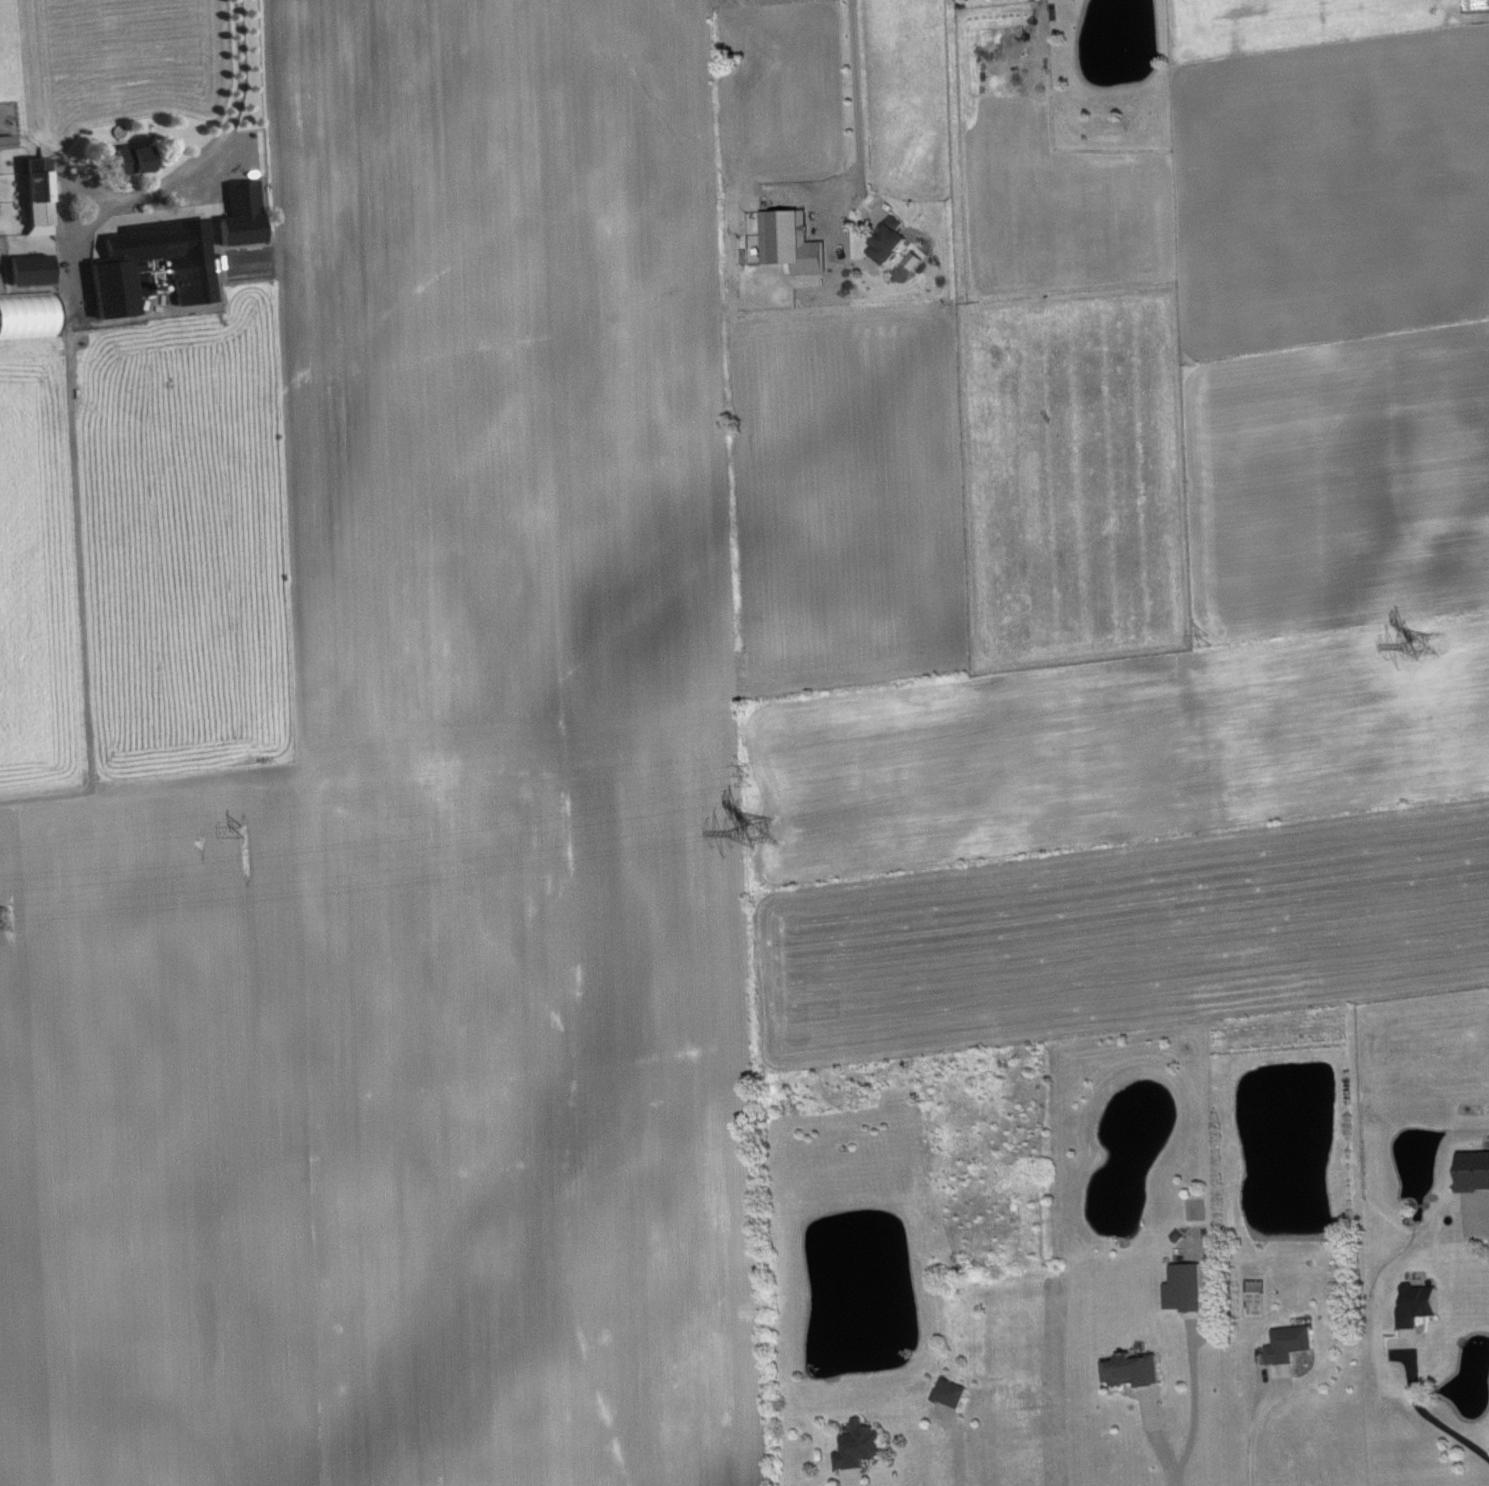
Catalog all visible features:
road: (857, 90)
road: (236, 104)
building: (10, 142)
building: (138, 159)
building: (45, 195)
building: (1, 203)
building: (247, 214)
building: (894, 241)
building: (37, 270)
building: (191, 273)
building: (150, 284)
building: (29, 316)
power tower: (1201, 621)
power tower: (1425, 631)
power tower: (744, 744)
power tower: (240, 804)
power tower: (761, 810)
power tower: (5, 920)
building: (1476, 1171)
building: (1191, 1288)
building: (1424, 1305)
building: (1296, 1344)
building: (1139, 1370)
building: (956, 1393)
road: (1193, 1412)
road: (1428, 1417)
road: (1253, 1434)
building: (865, 1446)
road: (849, 1478)

